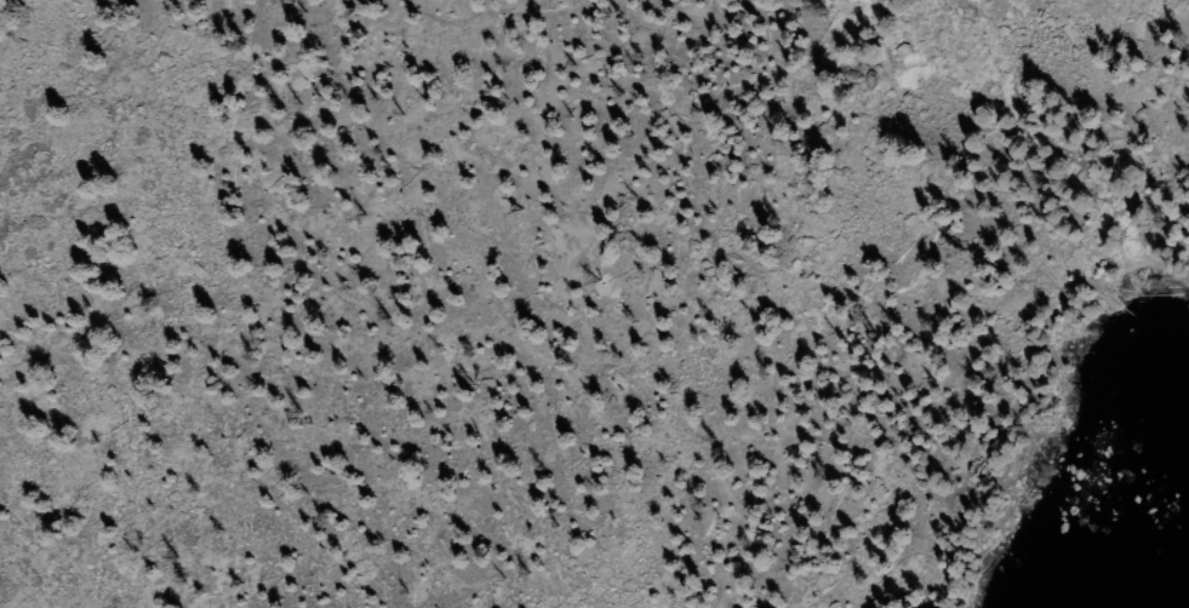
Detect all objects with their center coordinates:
road: (1058, 315)

